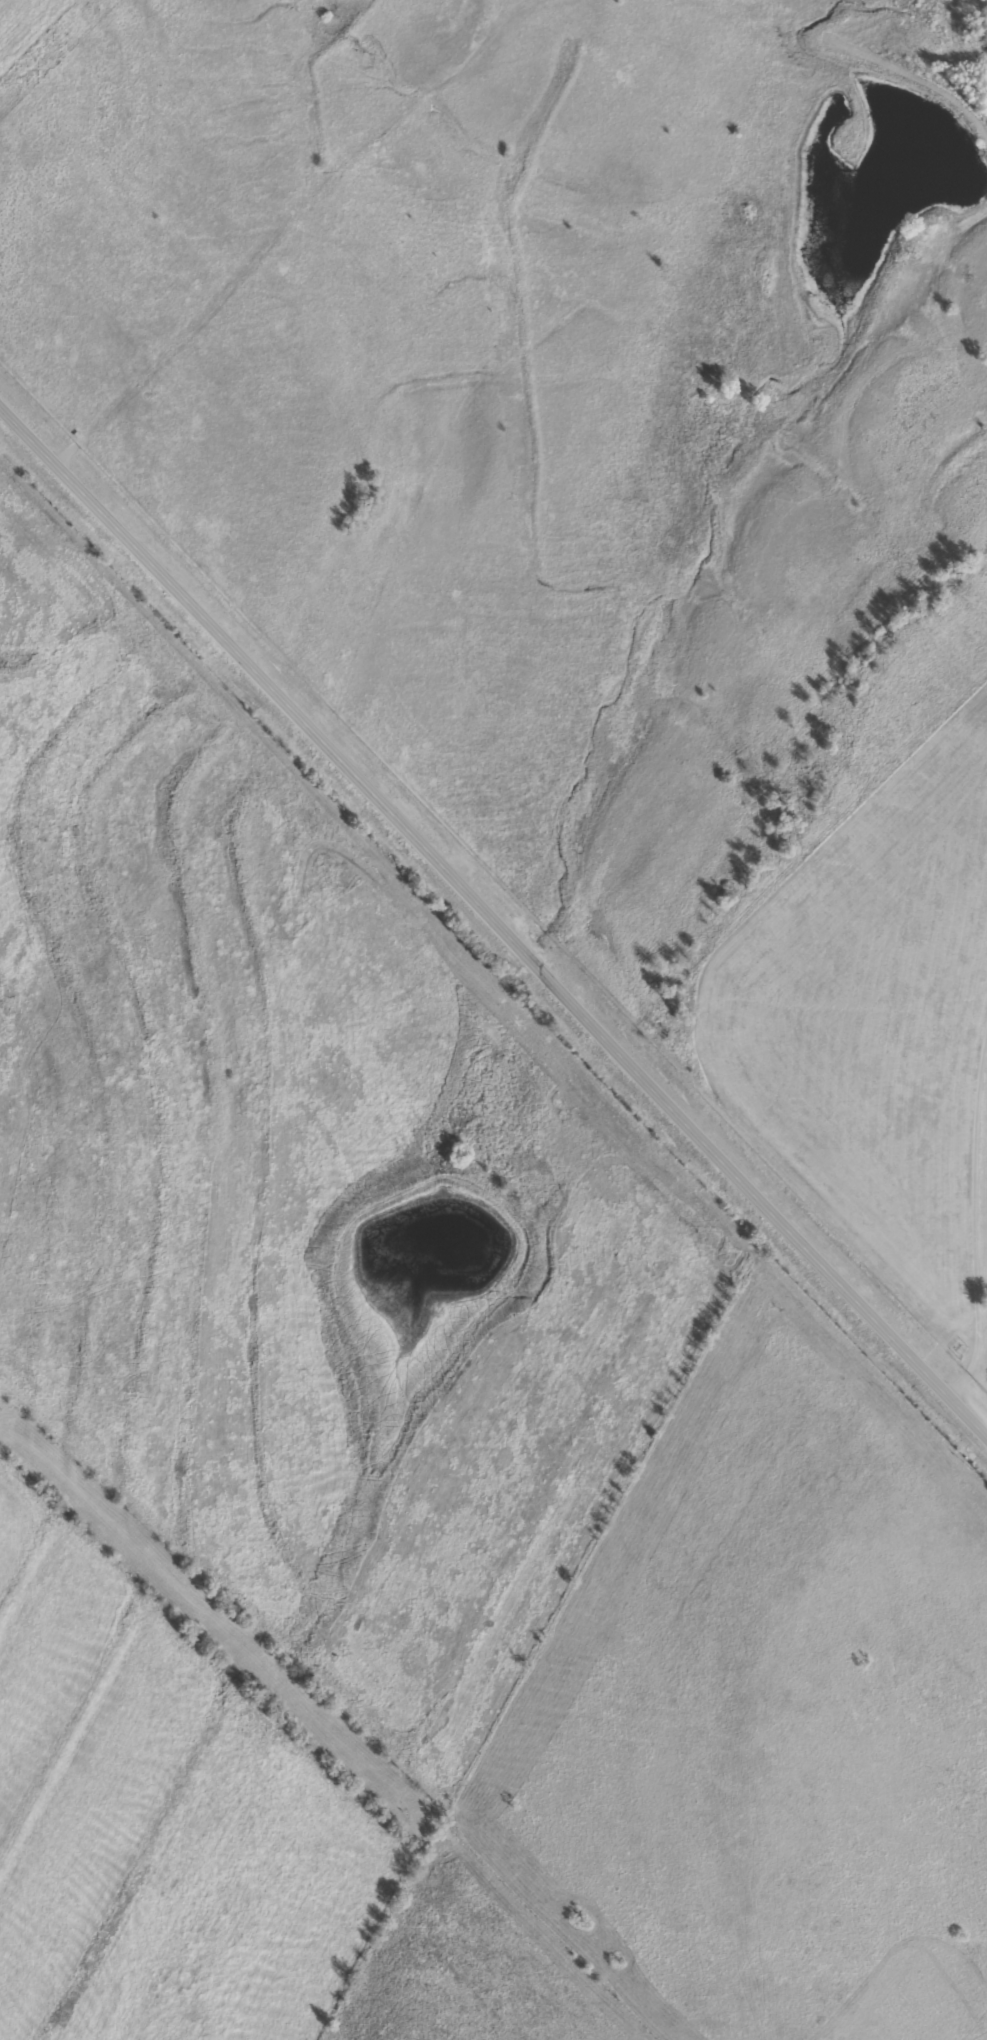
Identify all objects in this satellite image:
road: (295, 221)
road: (492, 922)
road: (973, 1223)

